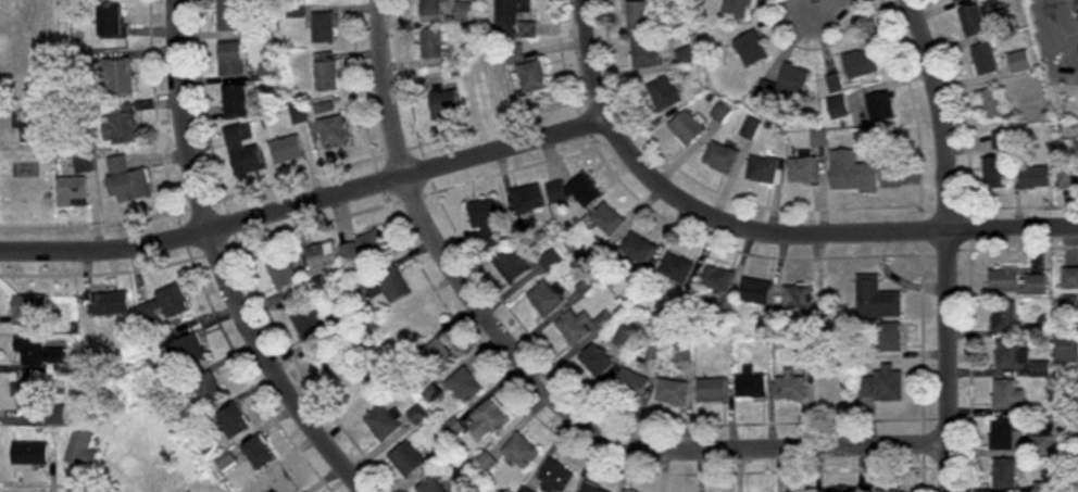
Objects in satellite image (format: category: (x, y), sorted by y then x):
building: (956, 0)
building: (1077, 2)
road: (817, 4)
building: (431, 8)
building: (736, 9)
building: (466, 12)
building: (28, 13)
building: (229, 15)
building: (638, 16)
building: (514, 18)
building: (973, 21)
building: (111, 22)
building: (323, 27)
building: (433, 48)
building: (750, 49)
building: (645, 52)
building: (686, 55)
building: (231, 59)
building: (985, 60)
building: (1020, 62)
building: (861, 63)
building: (529, 71)
building: (326, 75)
building: (117, 77)
building: (833, 84)
building: (791, 85)
building: (28, 90)
building: (664, 93)
building: (238, 101)
building: (444, 102)
building: (992, 104)
building: (880, 106)
building: (838, 108)
building: (120, 125)
building: (29, 127)
building: (687, 127)
building: (333, 131)
building: (1002, 140)
building: (287, 149)
building: (242, 152)
building: (720, 157)
building: (84, 163)
building: (763, 171)
building: (803, 171)
building: (852, 173)
building: (994, 173)
building: (891, 176)
building: (1068, 177)
building: (1036, 178)
building: (127, 181)
building: (71, 192)
building: (574, 192)
building: (528, 200)
road: (309, 205)
road: (701, 209)
building: (486, 216)
building: (607, 219)
road: (1013, 231)
road: (948, 243)
building: (373, 248)
building: (639, 249)
building: (350, 252)
building: (323, 255)
road: (229, 260)
building: (515, 265)
building: (676, 267)
building: (281, 273)
building: (1070, 278)
building: (717, 279)
building: (1017, 282)
building: (393, 286)
building: (755, 291)
building: (798, 298)
building: (547, 299)
building: (877, 300)
building: (110, 304)
building: (164, 305)
building: (27, 310)
building: (1004, 316)
building: (309, 325)
building: (582, 326)
building: (411, 327)
building: (625, 338)
building: (889, 338)
building: (186, 349)
building: (1067, 350)
building: (40, 355)
building: (1011, 355)
building: (335, 357)
building: (435, 359)
building: (597, 361)
building: (631, 383)
building: (751, 384)
building: (465, 386)
building: (882, 386)
road: (543, 387)
building: (359, 388)
building: (790, 388)
building: (206, 390)
building: (712, 390)
building: (673, 392)
building: (832, 392)
building: (1007, 395)
building: (27, 396)
building: (55, 415)
building: (489, 419)
building: (233, 421)
building: (383, 422)
building: (454, 429)
building: (1003, 434)
building: (1042, 445)
building: (522, 451)
building: (83, 452)
building: (259, 452)
building: (29, 454)
building: (406, 459)
building: (487, 463)
building: (122, 469)
building: (1004, 474)
building: (156, 476)
building: (557, 476)
building: (279, 482)
building: (430, 485)
building: (594, 488)
building: (527, 490)
building: (890, 490)
building: (627, 491)
building: (836, 491)

